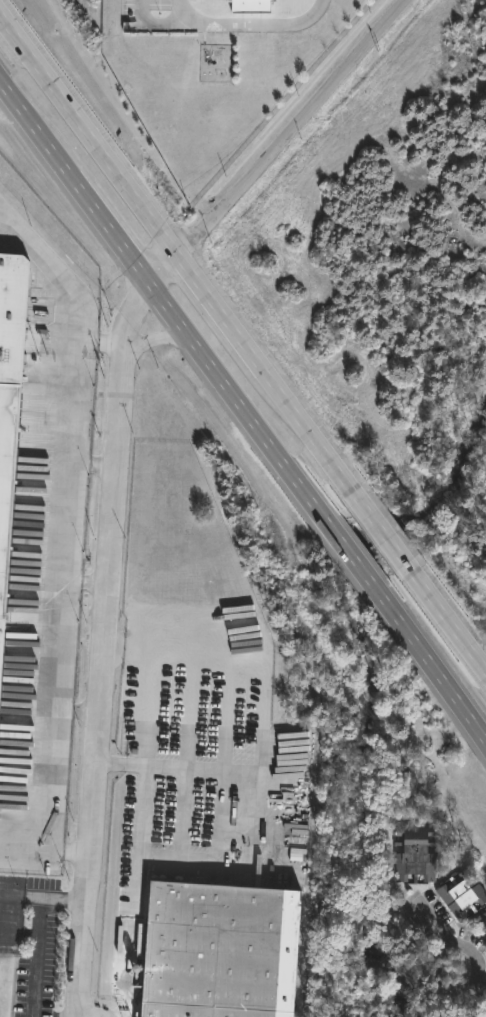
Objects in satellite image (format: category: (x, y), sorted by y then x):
building: (251, 6)
road: (229, 25)
road: (252, 177)
road: (54, 272)
road: (160, 344)
road: (243, 345)
building: (11, 364)
road: (244, 408)
road: (99, 460)
road: (76, 580)
road: (92, 581)
road: (152, 683)
road: (192, 690)
road: (101, 692)
road: (227, 695)
road: (259, 697)
road: (81, 710)
road: (121, 765)
road: (255, 773)
road: (70, 851)
building: (413, 851)
road: (25, 854)
building: (460, 893)
road: (42, 895)
road: (43, 916)
building: (481, 921)
road: (130, 938)
road: (462, 946)
building: (221, 949)
road: (40, 955)

